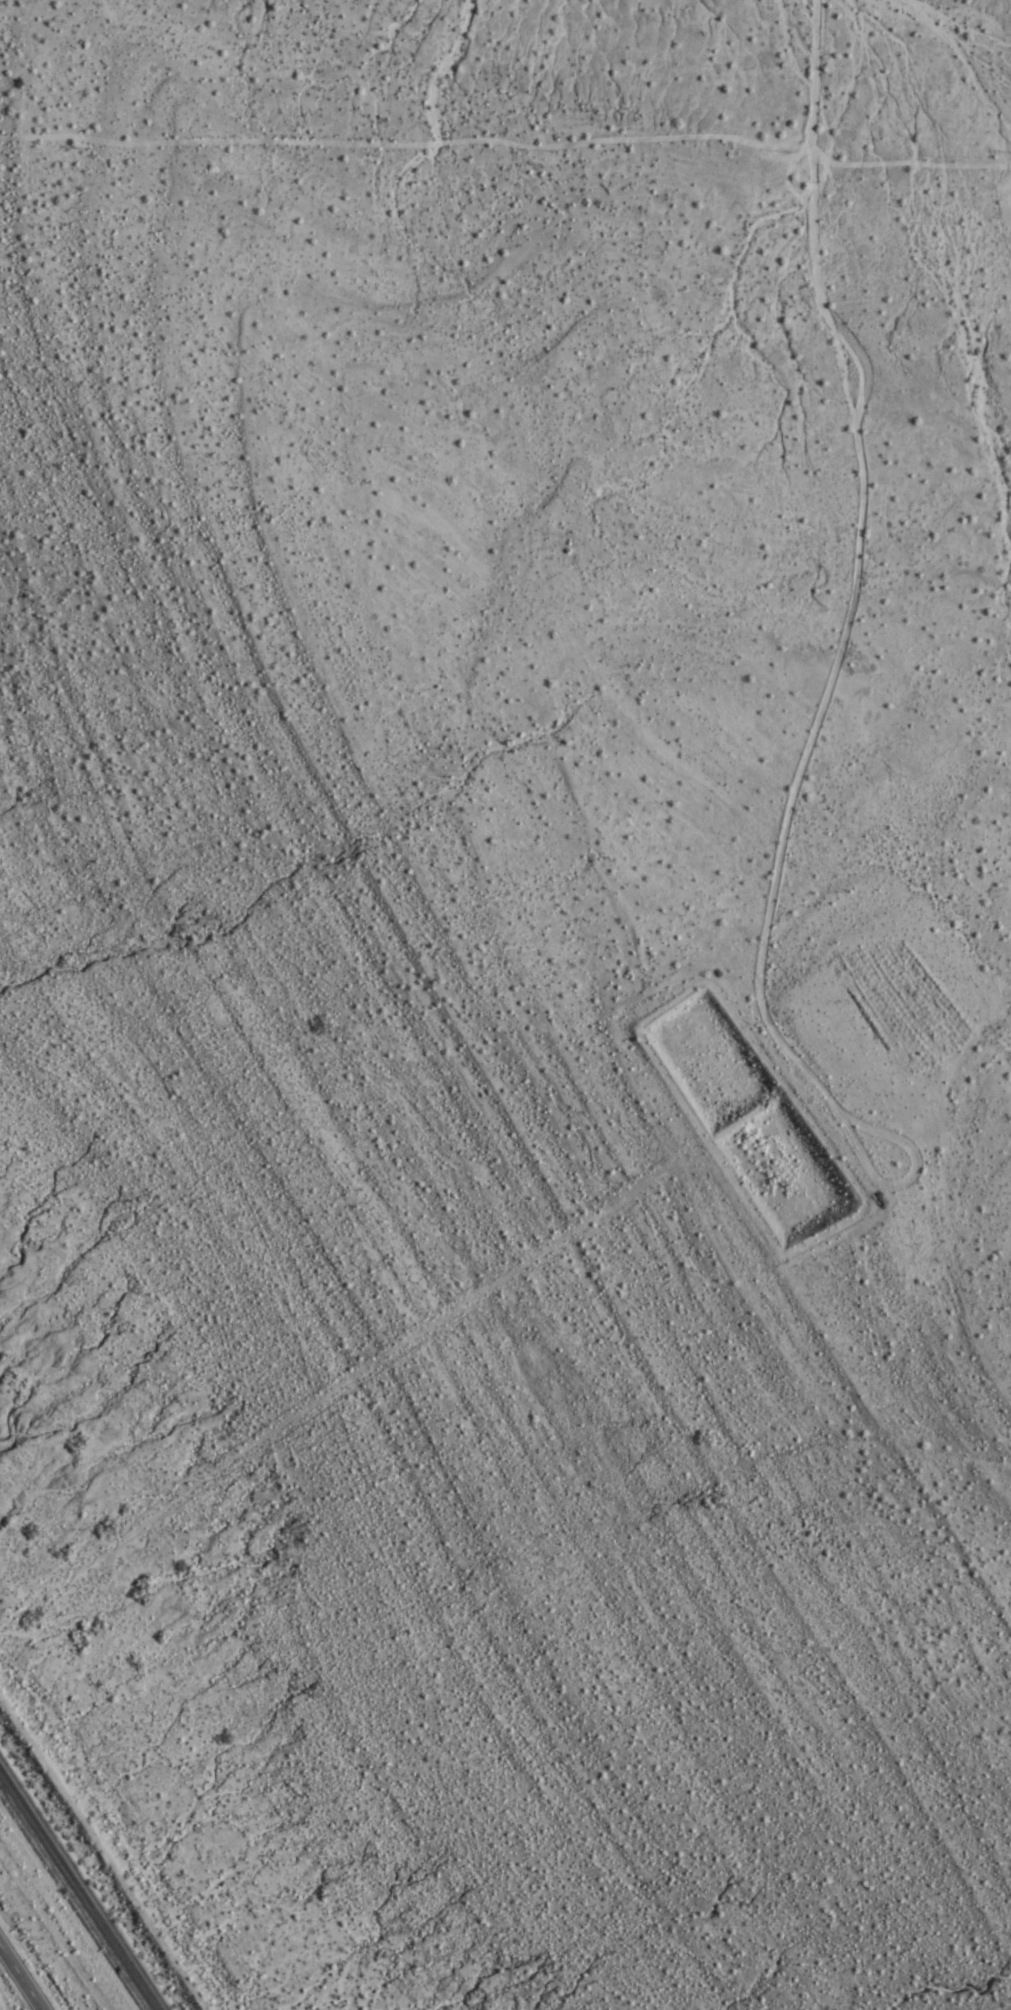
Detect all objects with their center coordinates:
railway: (80, 1889)
road: (20, 1978)

